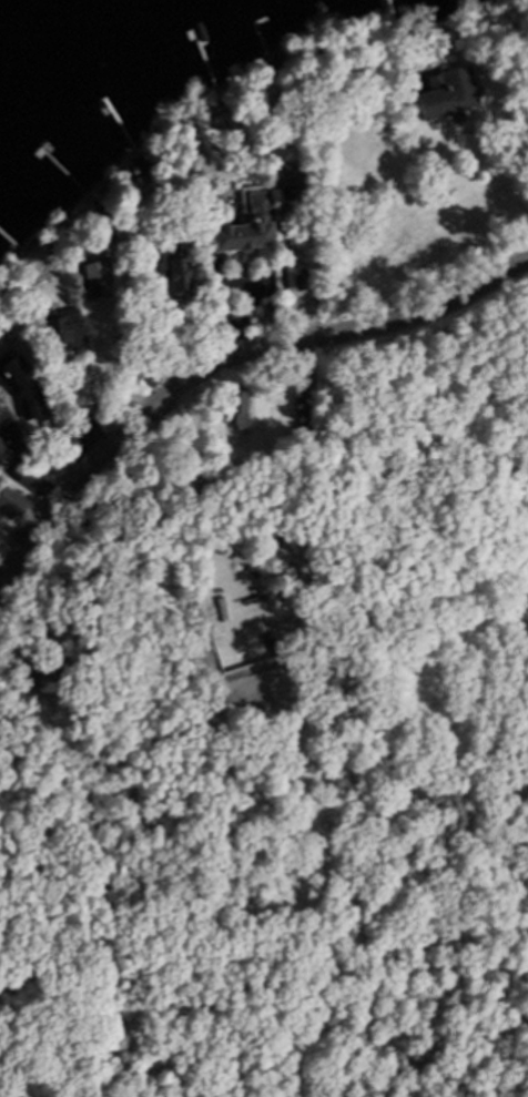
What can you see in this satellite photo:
building: (355, 41)
building: (271, 65)
building: (444, 91)
building: (139, 162)
building: (286, 181)
building: (243, 222)
building: (35, 234)
building: (176, 268)
building: (93, 276)
building: (292, 281)
road: (271, 287)
building: (288, 307)
building: (267, 313)
building: (60, 325)
building: (124, 355)
road: (214, 363)
building: (148, 369)
building: (20, 374)
building: (234, 406)
building: (0, 408)
building: (0, 446)
building: (57, 451)
building: (11, 500)
building: (82, 510)
building: (38, 674)

